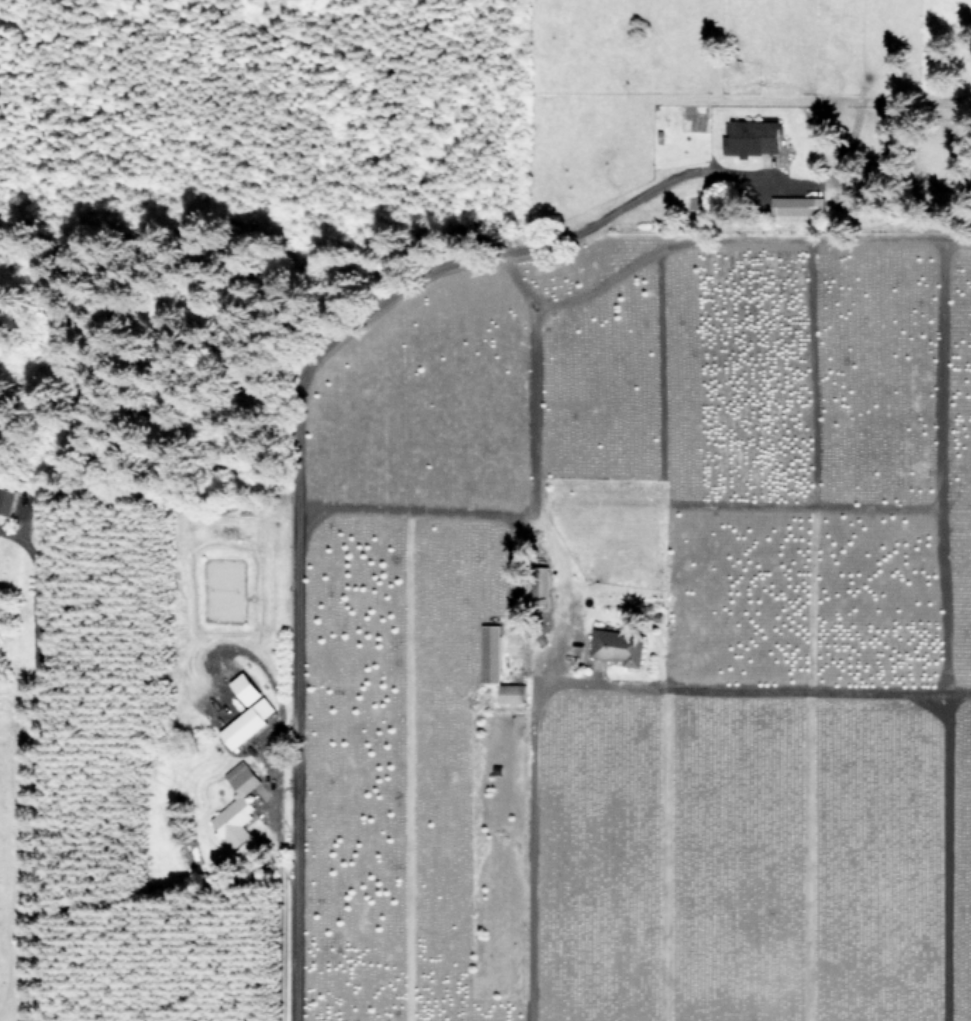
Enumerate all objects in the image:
building: (752, 136)
building: (796, 204)
road: (295, 428)
building: (6, 499)
building: (543, 583)
building: (617, 645)
building: (489, 653)
road: (566, 654)
building: (245, 687)
building: (511, 692)
building: (246, 722)
road: (36, 766)
building: (236, 807)

